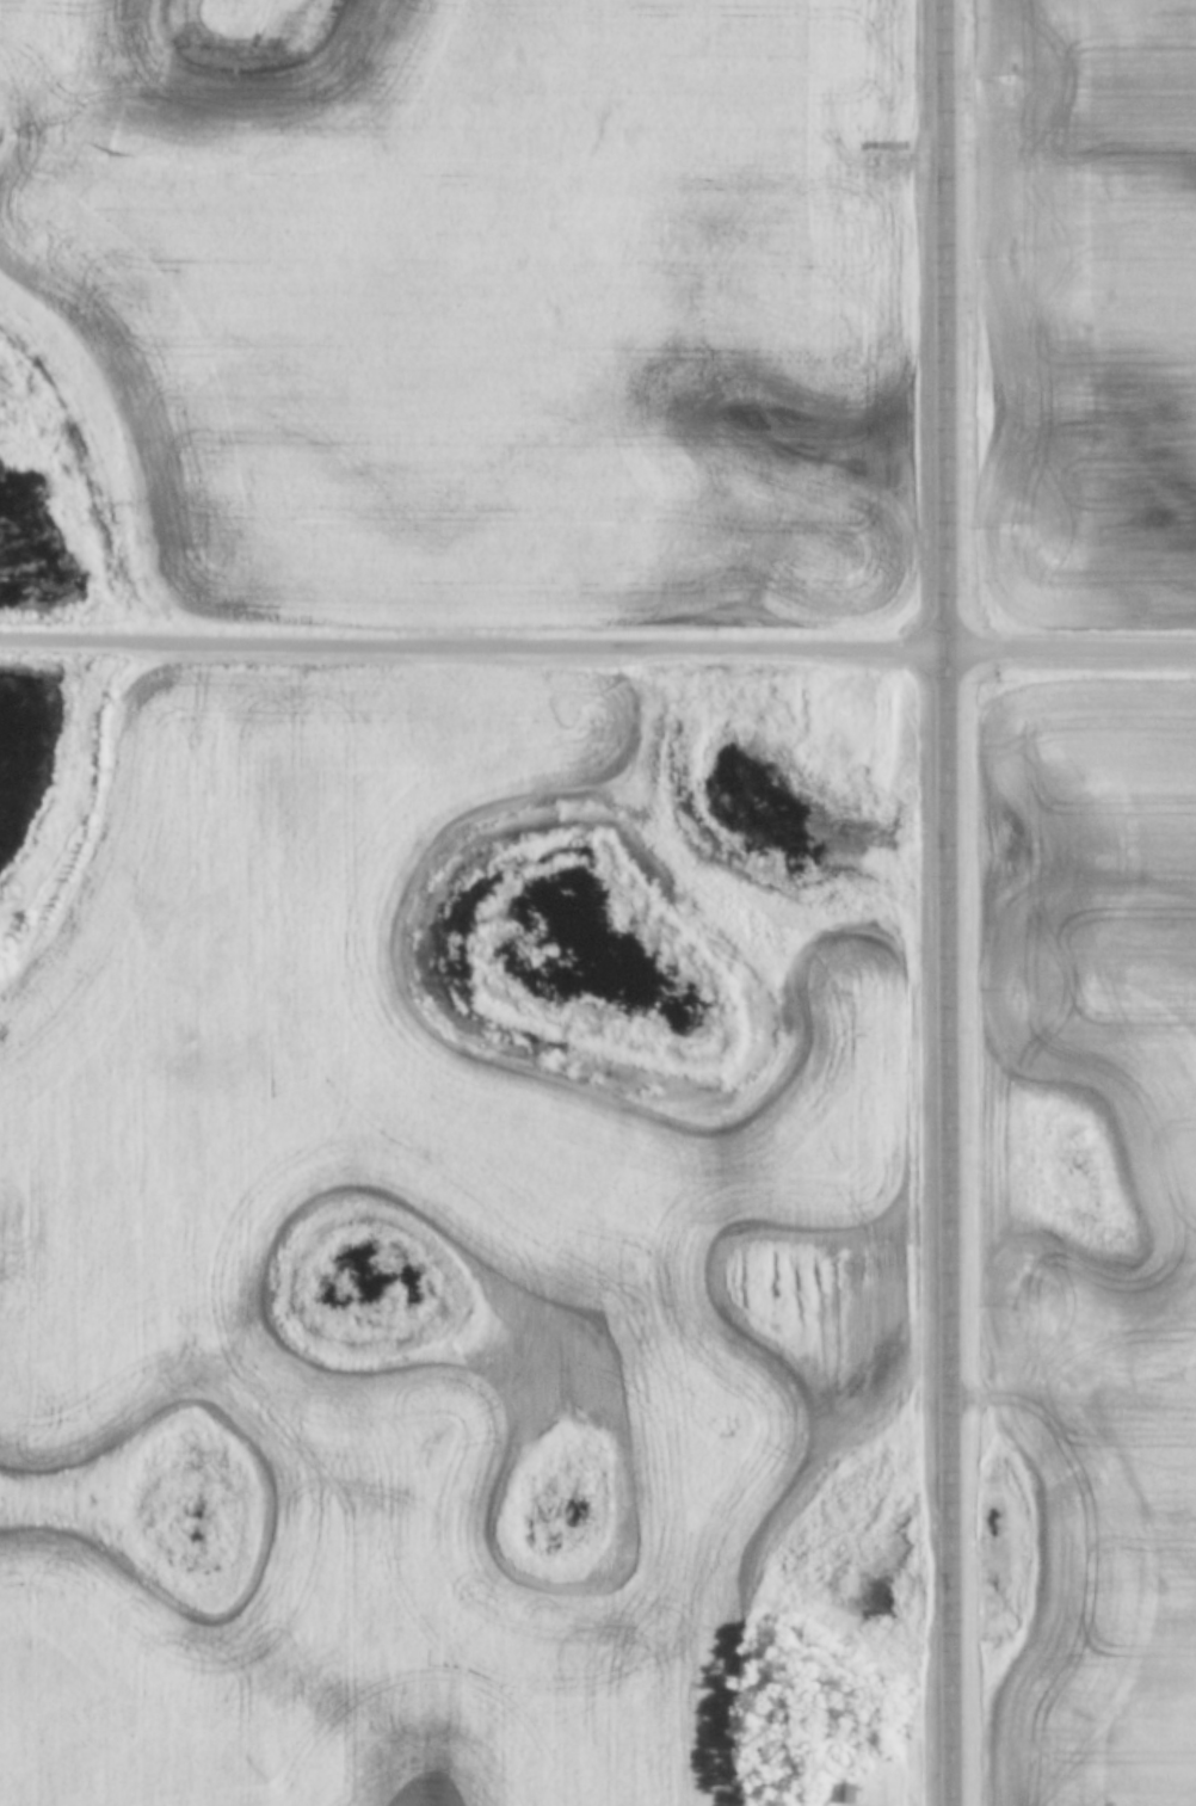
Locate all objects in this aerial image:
road: (598, 648)
road: (963, 902)
building: (851, 1793)

